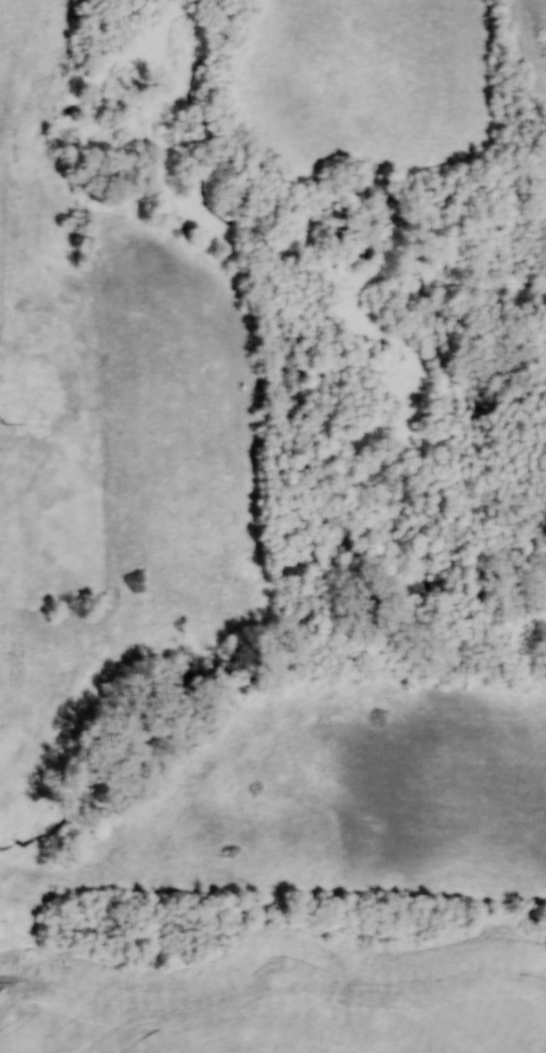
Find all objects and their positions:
road: (528, 47)
power tower: (2, 426)

